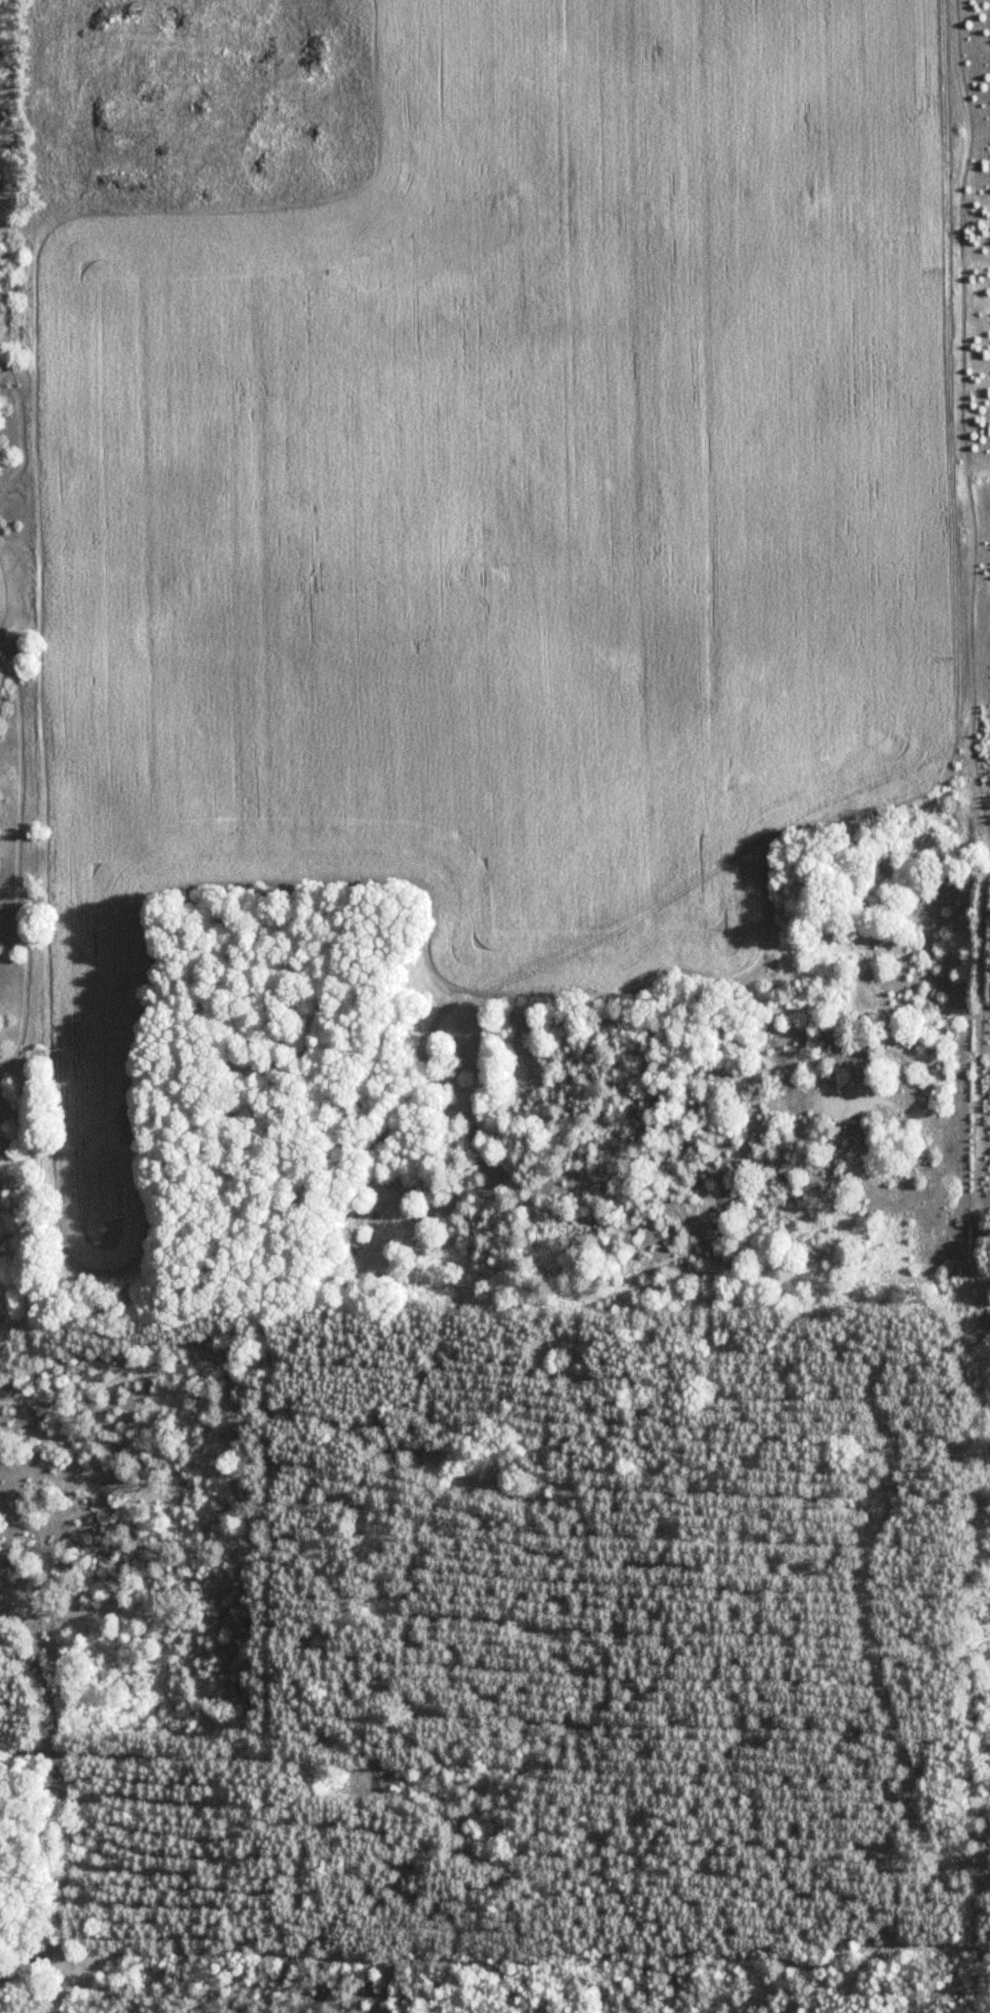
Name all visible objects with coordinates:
road: (742, 1285)
road: (989, 1302)
road: (978, 1855)

